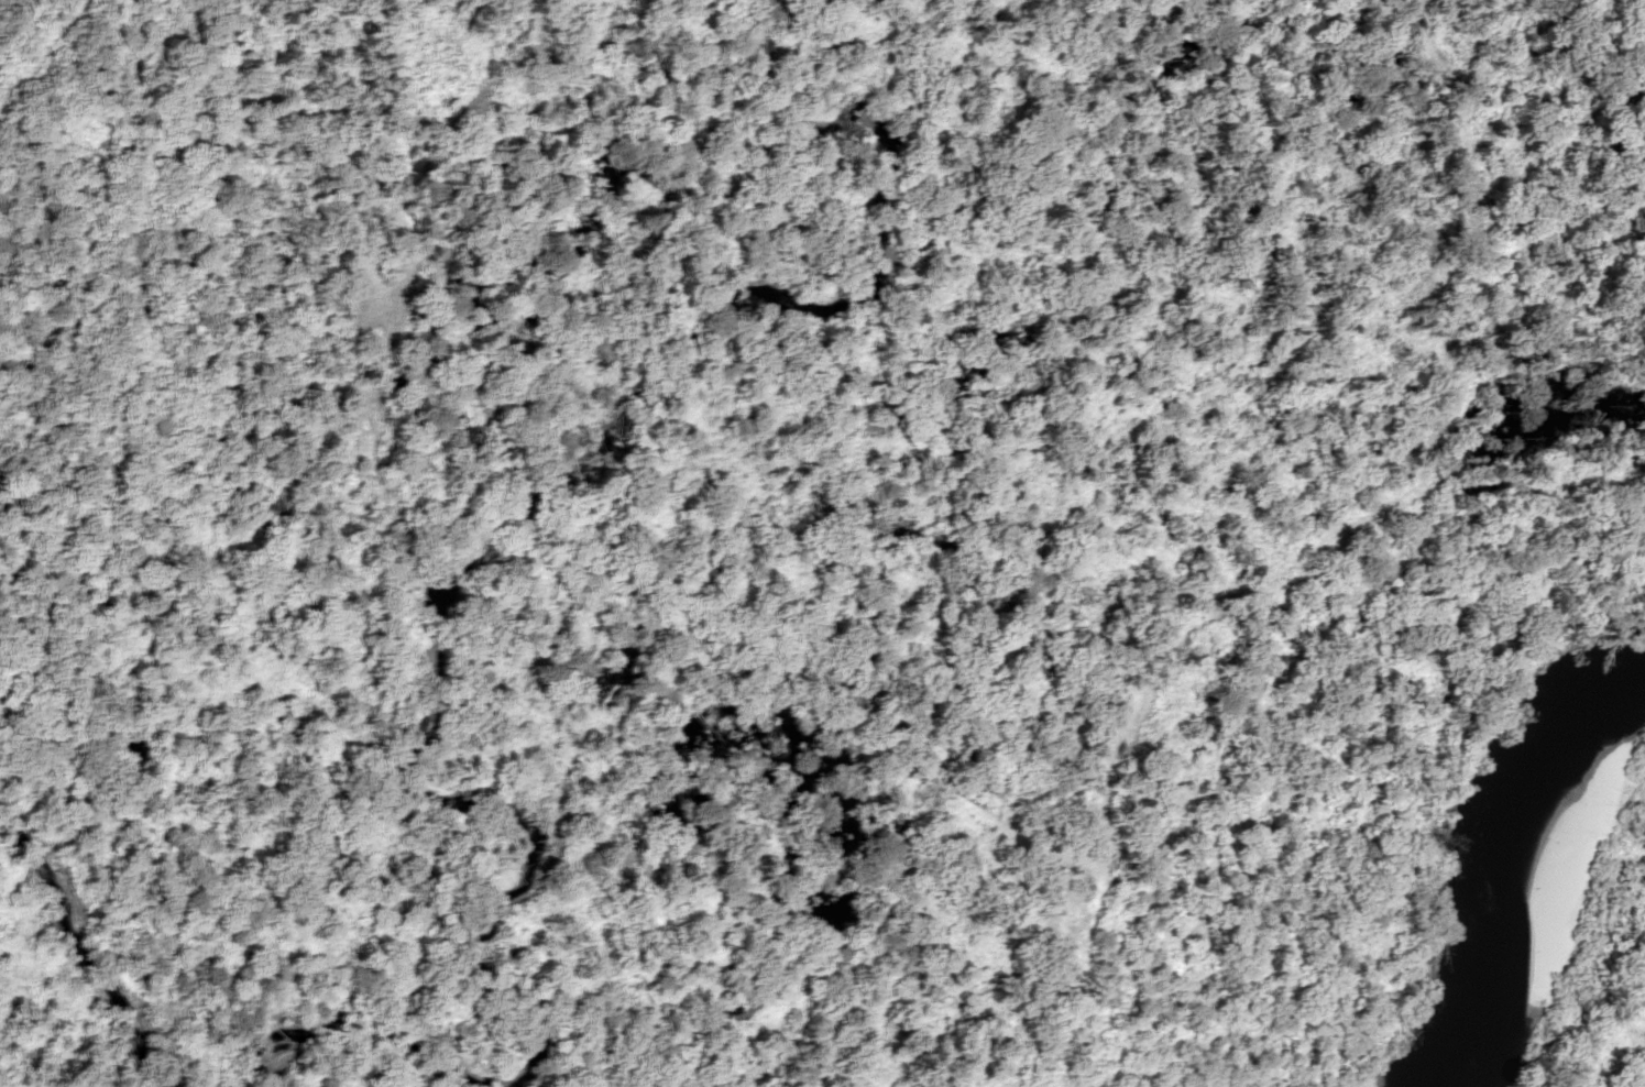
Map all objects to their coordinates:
river: (1544, 947)

